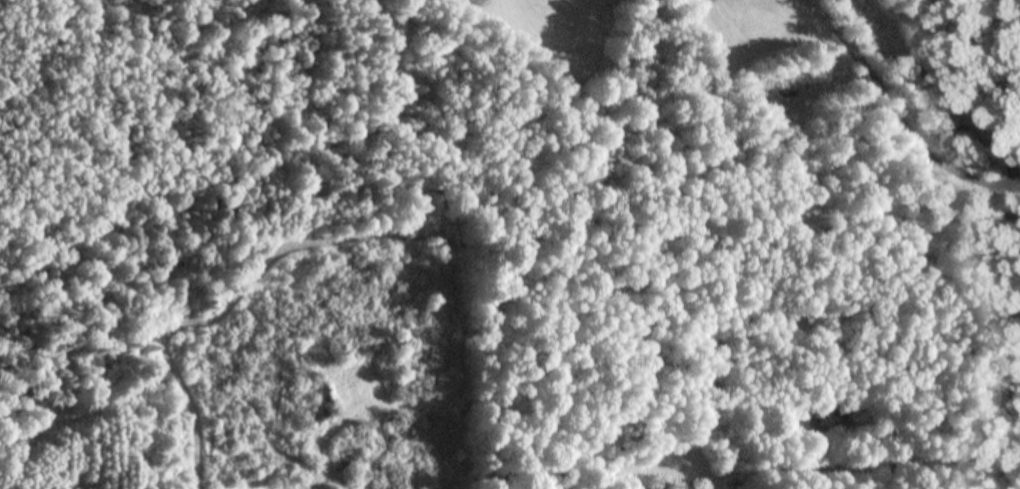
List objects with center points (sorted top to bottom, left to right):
road: (972, 196)

